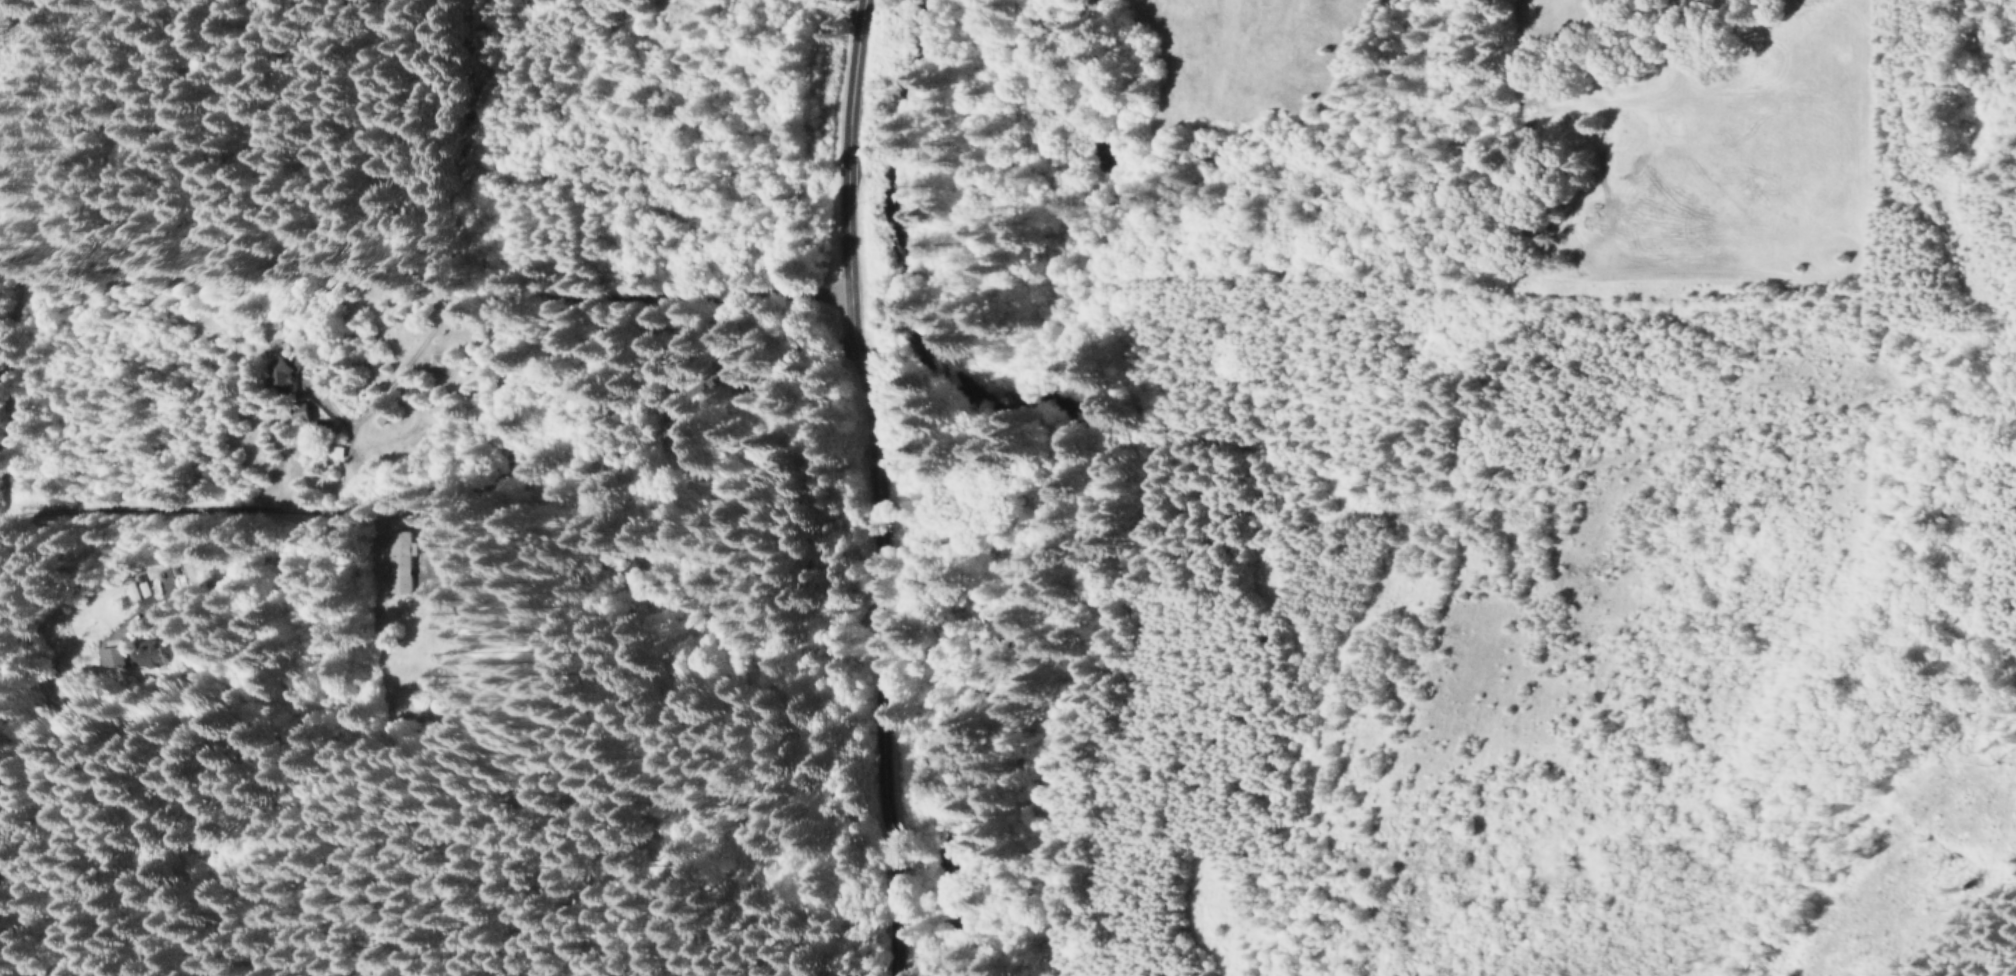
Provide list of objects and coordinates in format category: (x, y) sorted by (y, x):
road: (538, 282)
building: (283, 369)
building: (300, 412)
river: (1025, 469)
road: (845, 487)
road: (366, 489)
building: (400, 560)
building: (138, 590)
building: (148, 654)
building: (108, 657)

